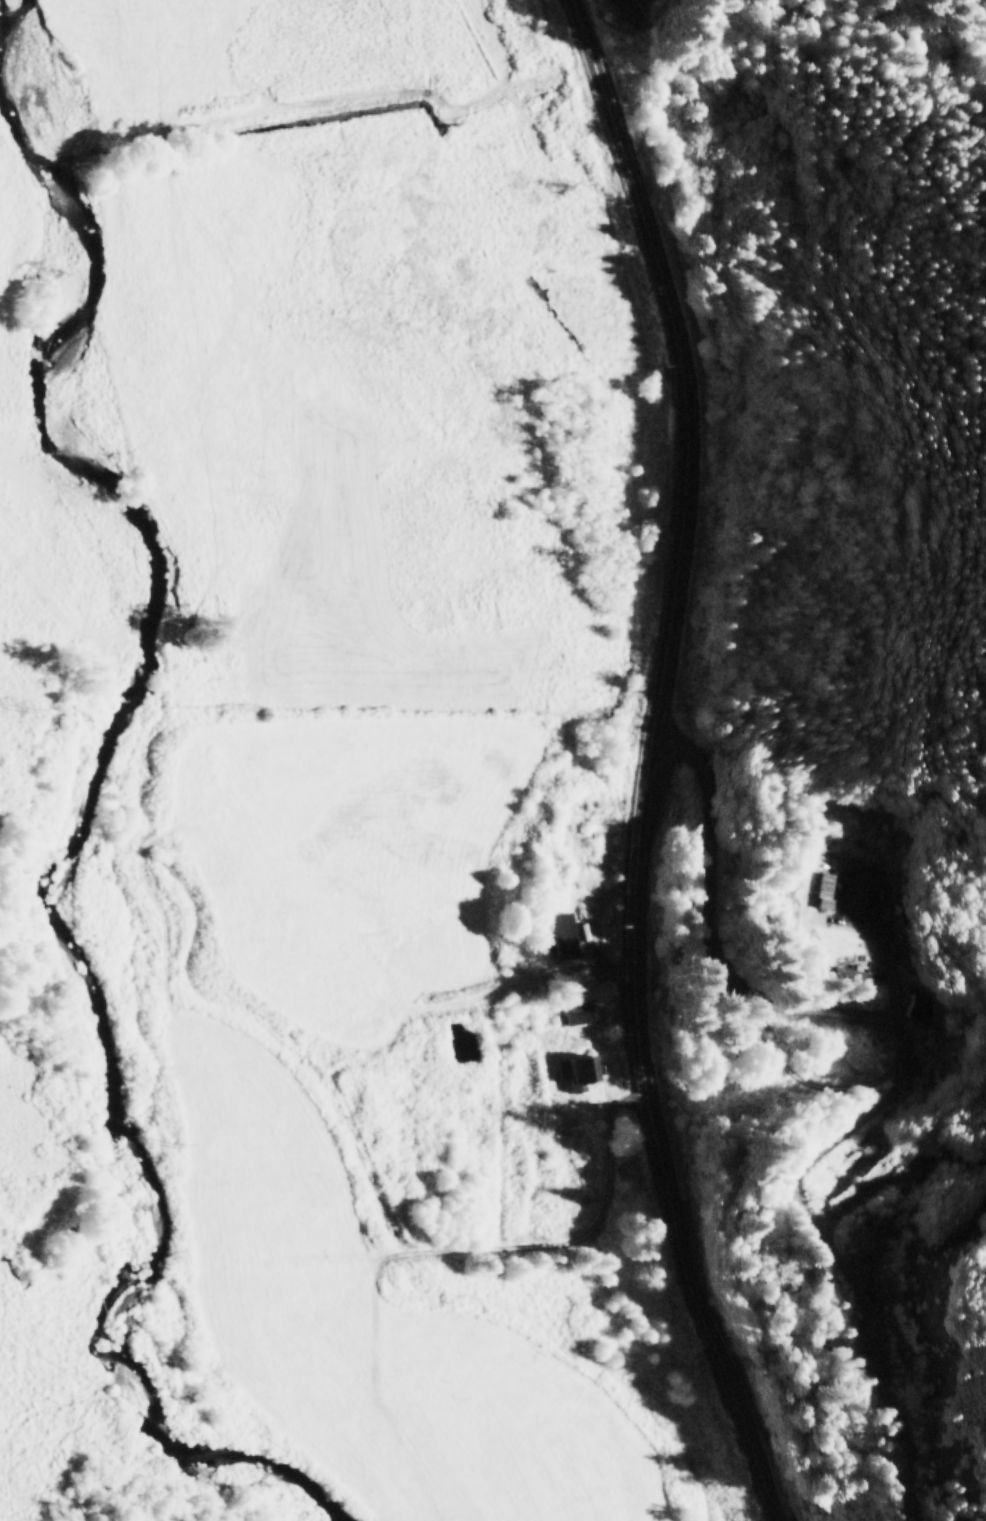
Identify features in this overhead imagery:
crop: (314, 735)
road: (646, 762)
building: (558, 934)
road: (567, 1232)

